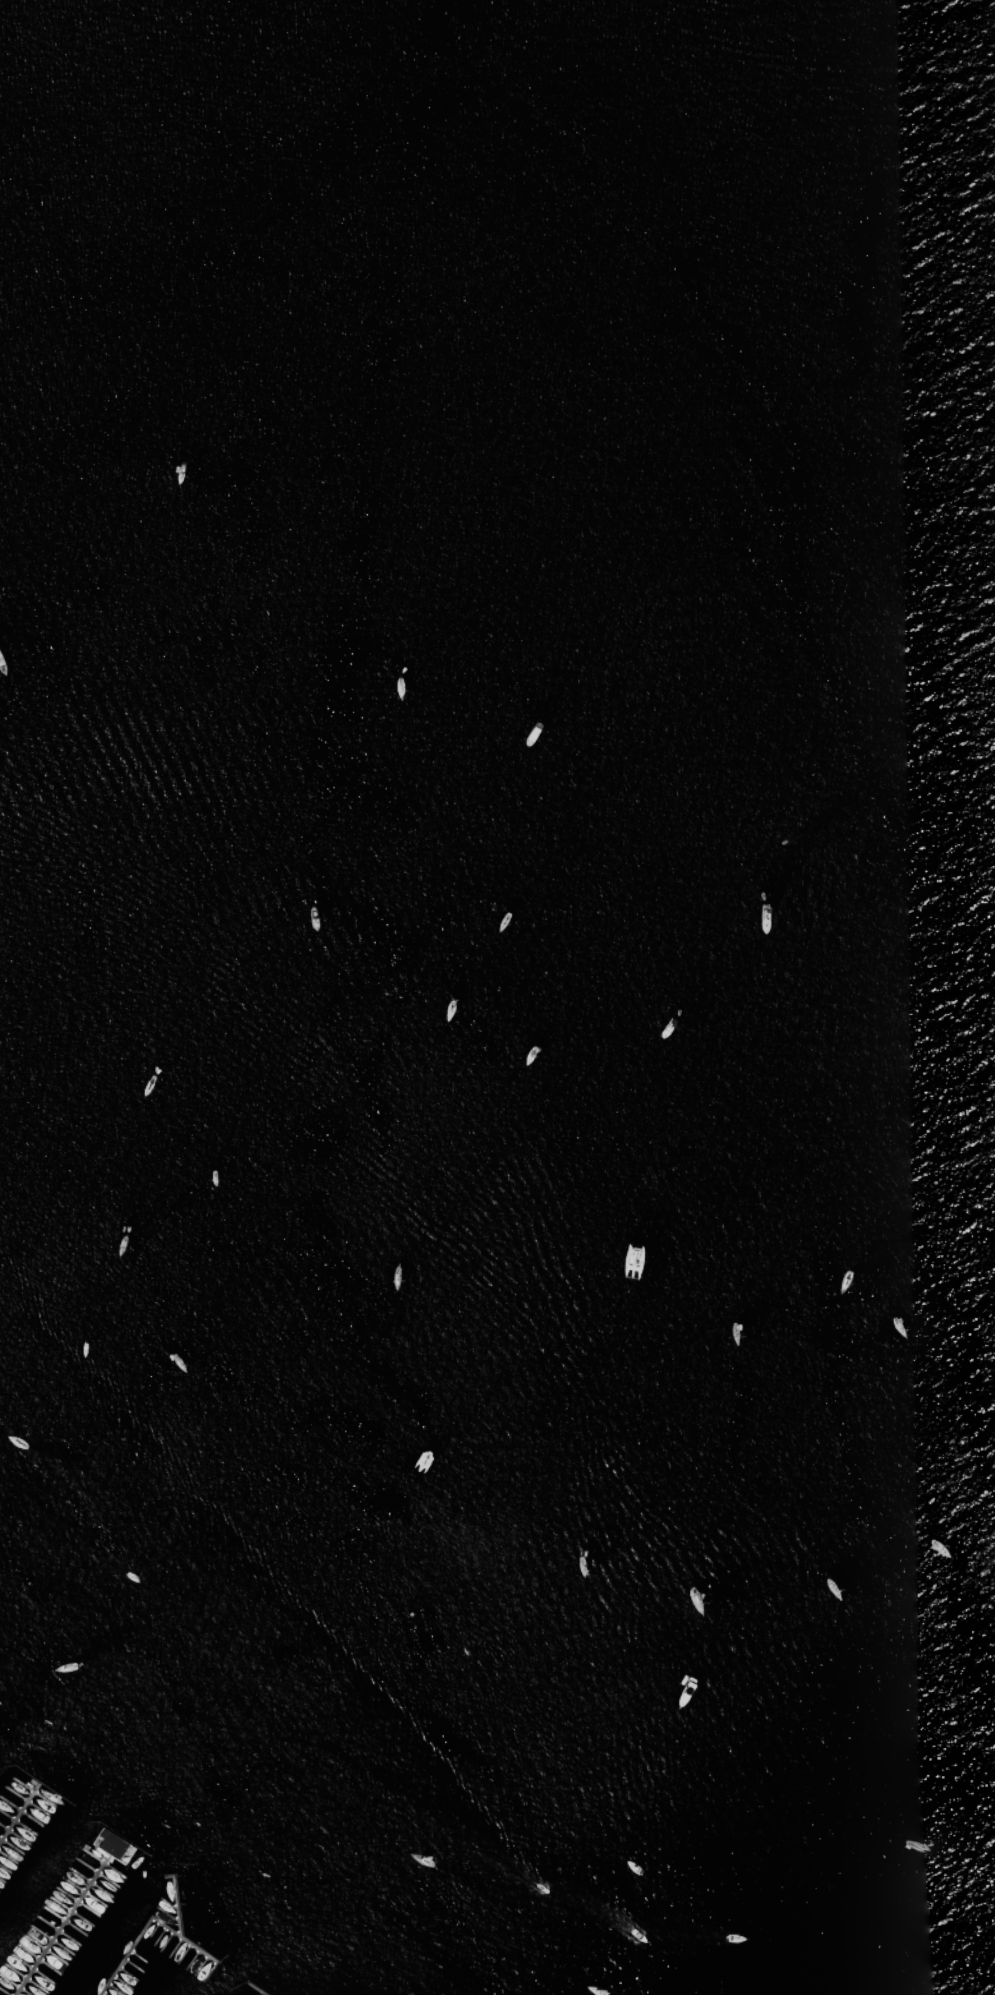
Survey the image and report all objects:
pier: (17, 1818)
building: (109, 1843)
pier: (66, 1927)
pier: (149, 1929)

